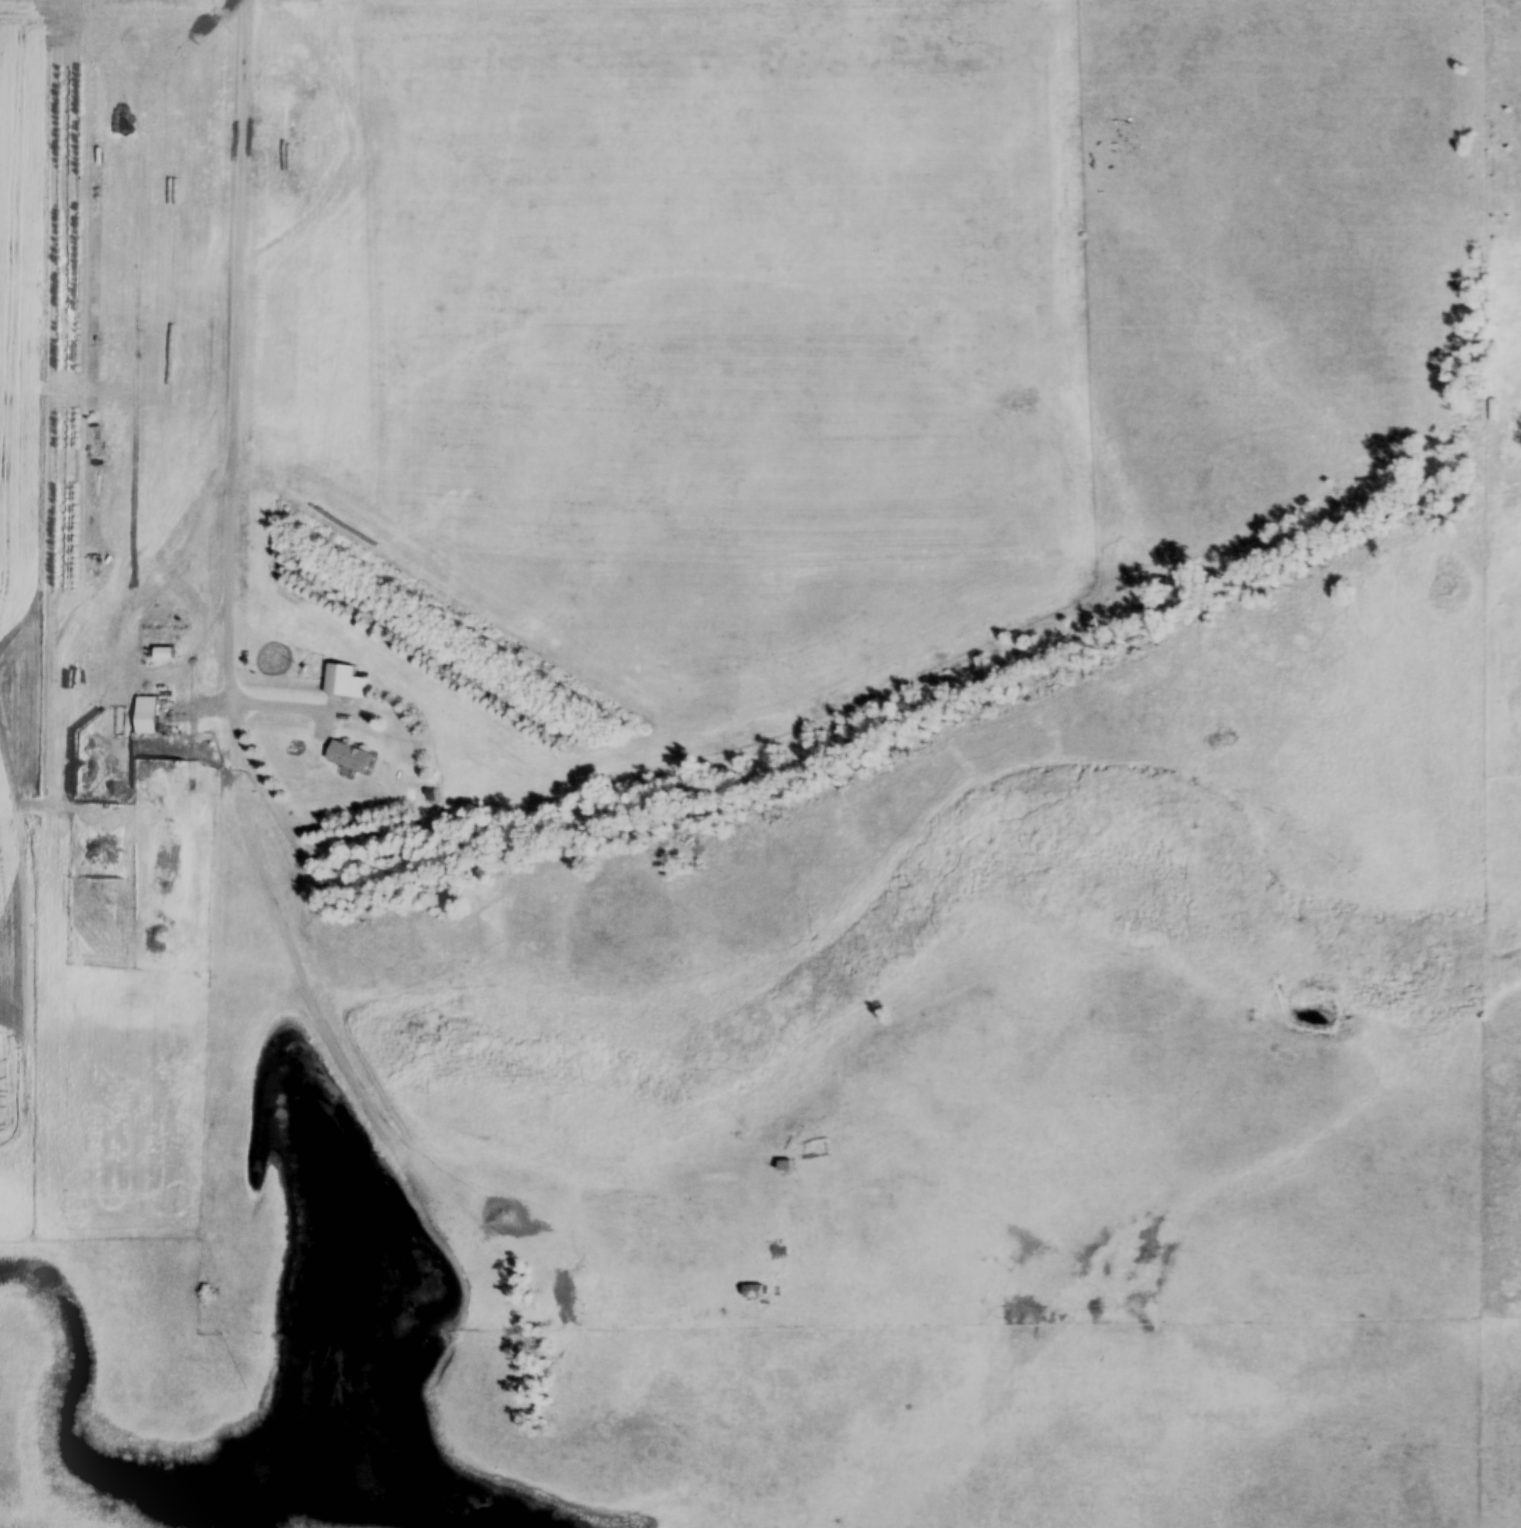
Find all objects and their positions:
road: (231, 404)
building: (338, 681)
building: (145, 716)
building: (350, 758)
building: (752, 1292)

